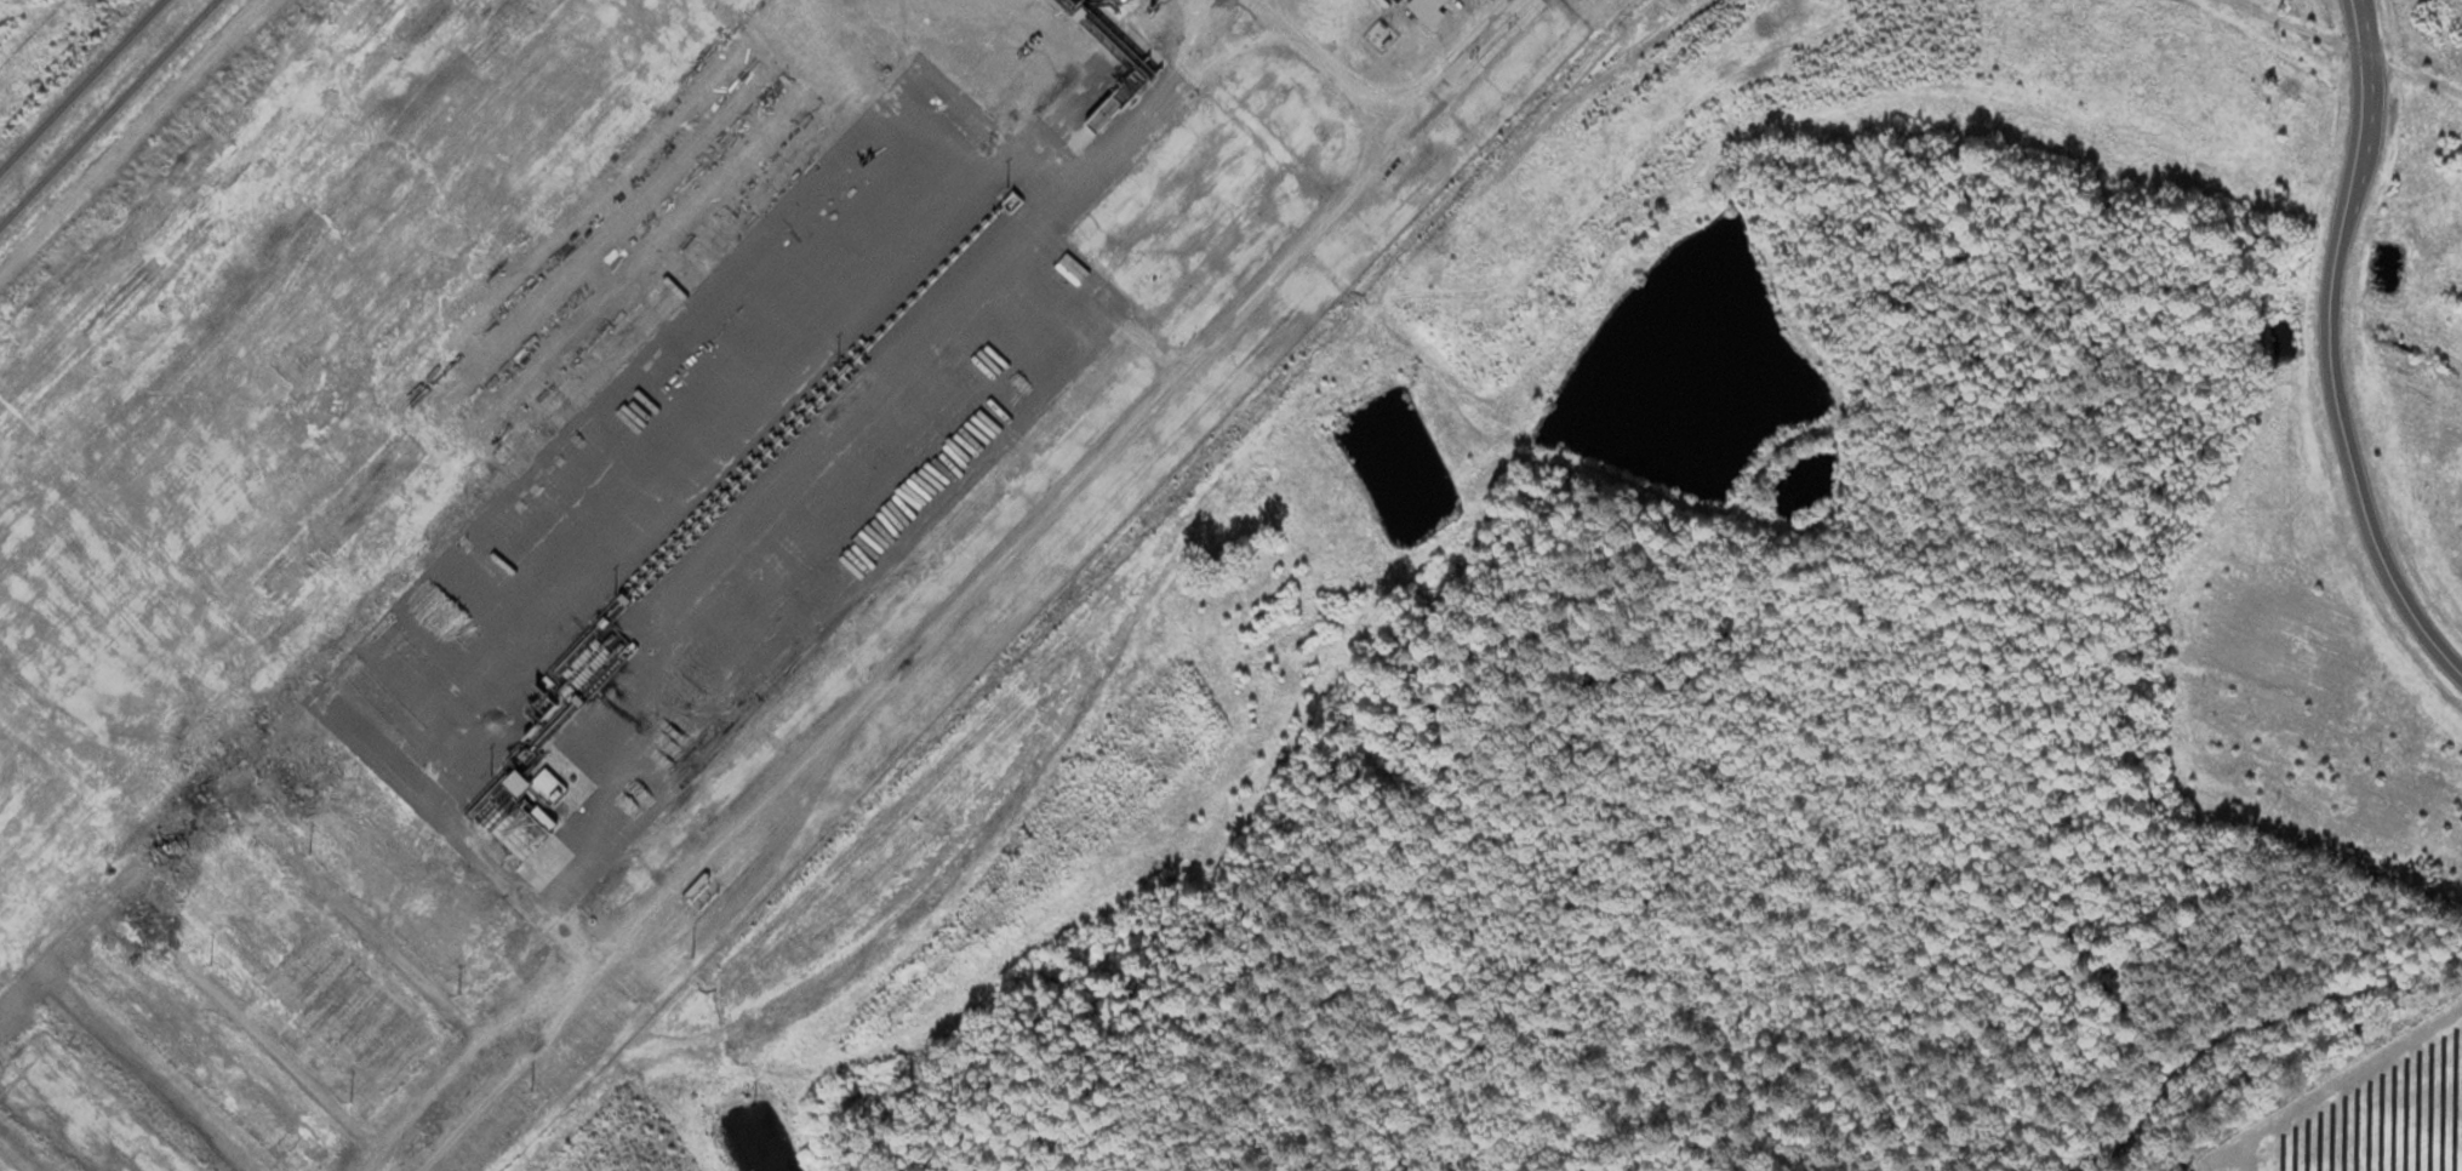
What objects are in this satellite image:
building: (1607, 6)
railway: (81, 85)
building: (1241, 329)

